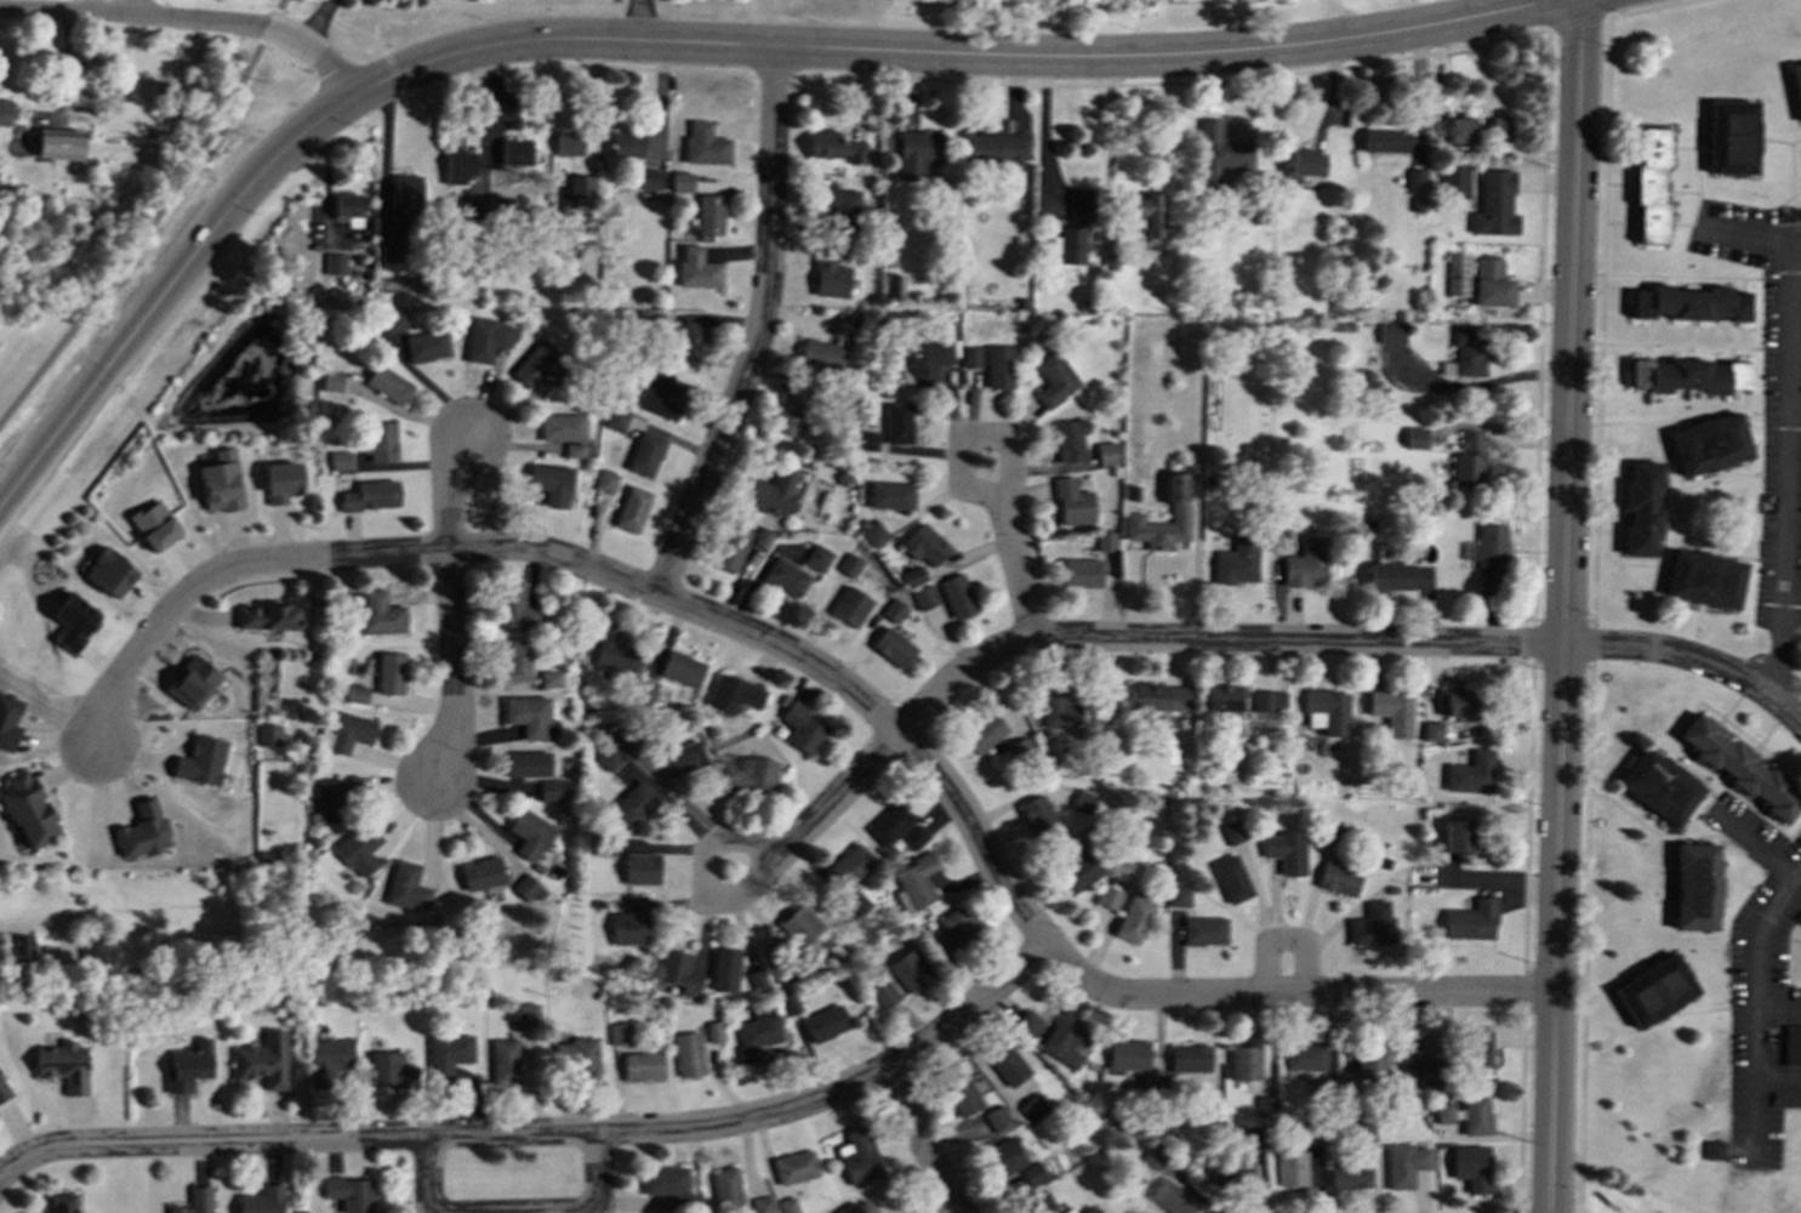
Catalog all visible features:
road: (127, 7)
road: (644, 18)
road: (188, 19)
road: (319, 24)
road: (939, 49)
building: (1796, 86)
building: (5, 110)
road: (1047, 126)
building: (1498, 127)
building: (1458, 129)
building: (1731, 136)
road: (1110, 138)
building: (1384, 139)
building: (58, 143)
building: (568, 143)
building: (626, 143)
building: (703, 144)
building: (834, 146)
building: (515, 150)
building: (993, 150)
building: (916, 152)
building: (1220, 152)
building: (1305, 161)
building: (458, 165)
building: (1415, 178)
building: (649, 180)
building: (1454, 180)
building: (680, 181)
building: (1648, 186)
building: (580, 187)
building: (404, 190)
building: (1494, 204)
building: (838, 205)
building: (348, 209)
road: (148, 215)
building: (708, 215)
building: (1145, 215)
building: (1072, 227)
road: (1752, 235)
building: (392, 252)
building: (334, 263)
building: (695, 268)
building: (827, 274)
building: (1457, 279)
road: (164, 283)
building: (1489, 283)
building: (893, 284)
building: (1688, 302)
building: (394, 318)
building: (844, 325)
road: (759, 328)
building: (1390, 332)
building: (484, 338)
building: (688, 343)
building: (426, 346)
building: (1467, 351)
building: (821, 354)
building: (970, 357)
building: (927, 360)
building: (538, 366)
building: (998, 366)
building: (1677, 375)
building: (1736, 375)
building: (1054, 377)
building: (331, 382)
building: (387, 383)
road: (1480, 385)
building: (657, 395)
building: (792, 406)
building: (614, 418)
road: (1795, 418)
building: (896, 422)
building: (560, 427)
building: (1414, 437)
building: (1070, 439)
building: (377, 440)
building: (867, 440)
building: (1709, 443)
building: (572, 450)
building: (1105, 452)
building: (644, 454)
road: (959, 455)
building: (338, 460)
building: (1467, 460)
road: (1786, 473)
building: (604, 480)
building: (218, 482)
building: (280, 482)
building: (549, 483)
building: (775, 492)
building: (370, 495)
building: (889, 495)
building: (1071, 502)
building: (1178, 507)
building: (631, 508)
building: (1641, 508)
building: (153, 525)
building: (872, 533)
building: (763, 537)
building: (1105, 540)
building: (923, 545)
building: (729, 547)
building: (1491, 556)
building: (817, 557)
building: (1235, 560)
building: (1305, 563)
building: (848, 564)
building: (108, 571)
road: (1016, 571)
building: (1079, 571)
building: (912, 575)
building: (785, 576)
building: (1389, 576)
building: (1703, 579)
building: (956, 596)
building: (923, 597)
road: (451, 604)
road: (1563, 605)
building: (849, 606)
building: (514, 610)
building: (893, 610)
building: (380, 615)
building: (267, 616)
building: (73, 620)
road: (1791, 630)
road: (1214, 638)
building: (891, 647)
building: (611, 649)
road: (1691, 659)
building: (514, 660)
building: (680, 668)
building: (389, 673)
building: (548, 679)
road: (836, 679)
building: (192, 682)
building: (357, 694)
building: (731, 694)
building: (1156, 696)
building: (1224, 696)
building: (1267, 701)
building: (1454, 702)
building: (1055, 705)
building: (1391, 710)
building: (1326, 711)
building: (526, 714)
building: (7, 722)
building: (802, 728)
building: (348, 730)
building: (1431, 730)
building: (982, 733)
building: (268, 734)
building: (627, 739)
building: (609, 757)
building: (680, 759)
building: (200, 761)
building: (526, 763)
building: (1740, 767)
building: (1470, 773)
building: (750, 775)
building: (1659, 786)
building: (548, 790)
road: (837, 796)
building: (336, 797)
building: (1082, 801)
building: (633, 804)
building: (27, 809)
building: (1036, 813)
building: (890, 822)
building: (142, 830)
building: (1231, 831)
building: (530, 833)
building: (1457, 835)
building: (913, 836)
road: (734, 843)
building: (360, 849)
building: (1284, 850)
building: (849, 866)
building: (642, 869)
building: (1077, 870)
building: (481, 873)
building: (1230, 878)
building: (1338, 878)
building: (916, 882)
building: (407, 885)
building: (1694, 887)
building: (528, 888)
building: (1176, 895)
building: (1107, 896)
building: (855, 904)
building: (1132, 918)
road: (39, 921)
building: (1470, 921)
building: (631, 922)
building: (799, 924)
building: (1372, 924)
building: (958, 927)
building: (1203, 929)
road: (1283, 939)
building: (19, 947)
building: (93, 950)
building: (724, 969)
building: (908, 969)
building: (678, 972)
building: (1653, 990)
building: (884, 996)
road: (1779, 1006)
road: (1757, 1009)
building: (525, 1014)
building: (825, 1023)
building: (619, 1033)
building: (756, 1035)
building: (1058, 1035)
building: (1791, 1044)
building: (1480, 1052)
building: (1128, 1053)
building: (581, 1054)
building: (688, 1054)
building: (446, 1055)
building: (1303, 1055)
building: (1189, 1057)
building: (327, 1059)
building: (262, 1060)
building: (503, 1060)
building: (1243, 1063)
building: (1008, 1064)
building: (1414, 1064)
building: (62, 1065)
building: (642, 1065)
building: (188, 1066)
building: (1363, 1066)
building: (389, 1070)
road: (1779, 1081)
building: (2, 1092)
building: (962, 1093)
building: (1265, 1106)
building: (1033, 1107)
building: (1442, 1112)
building: (1474, 1114)
building: (997, 1117)
road: (546, 1133)
building: (1250, 1137)
road: (919, 1139)
building: (1712, 1150)
building: (859, 1156)
building: (1004, 1156)
building: (1402, 1163)
building: (794, 1167)
building: (1470, 1167)
building: (1289, 1168)
building: (1230, 1171)
building: (1032, 1173)
building: (1349, 1174)
road: (428, 1175)
road: (595, 1175)
building: (663, 1179)
building: (726, 1189)
park: (1670, 1189)
building: (350, 1194)
building: (1172, 1197)
building: (262, 1200)
building: (194, 1201)
building: (61, 1202)
building: (1038, 1203)
building: (762, 1205)
building: (857, 1208)

